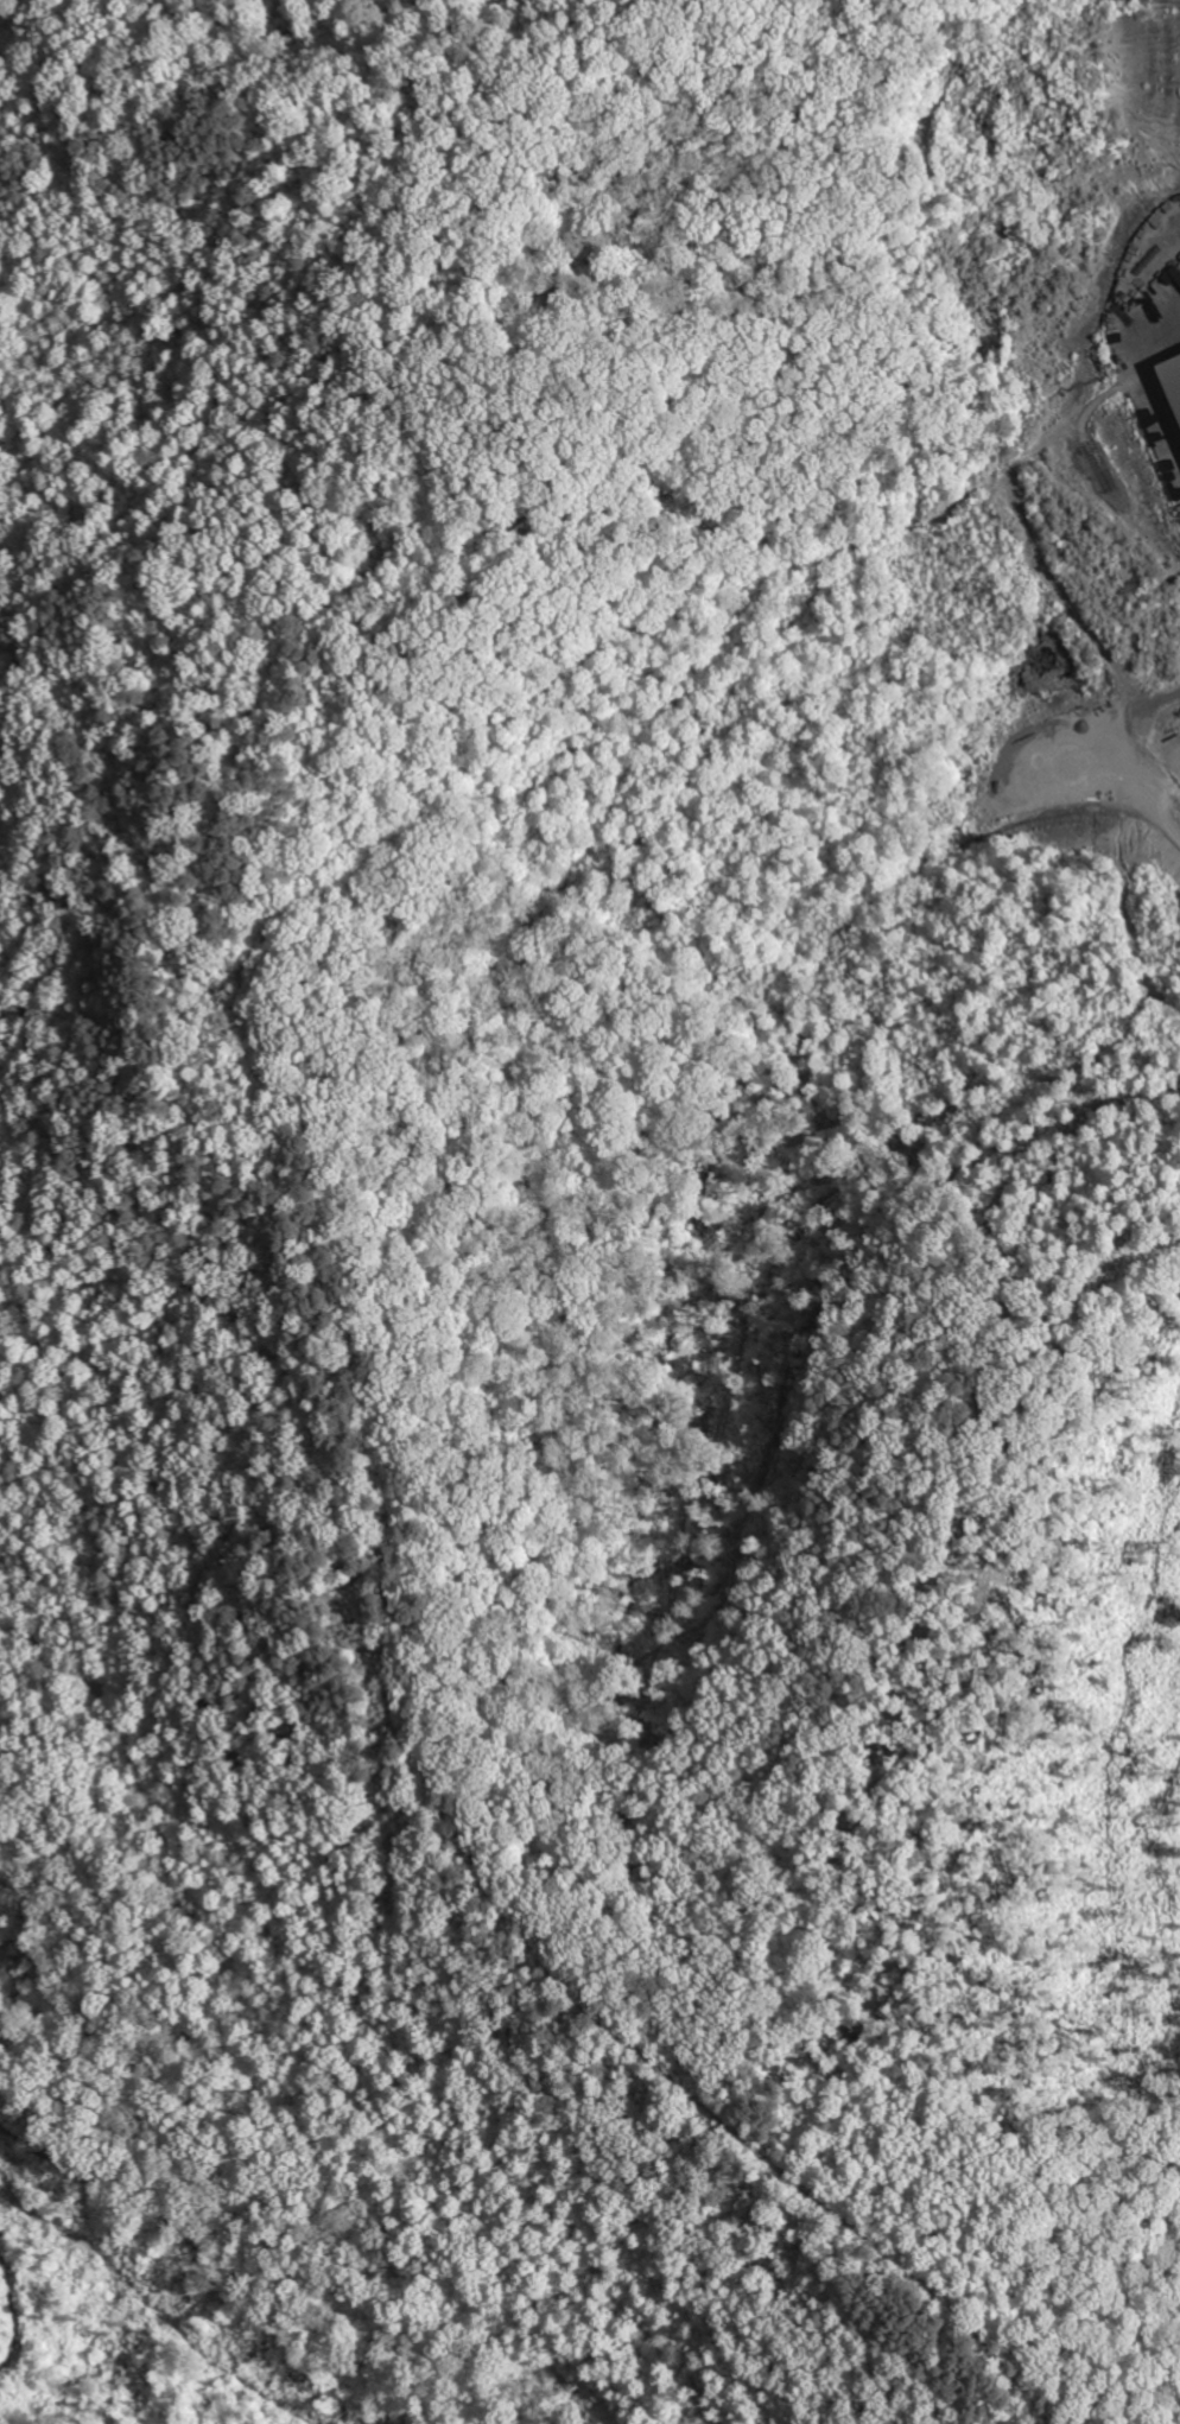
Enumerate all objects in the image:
building: (1174, 372)
road: (349, 1264)

